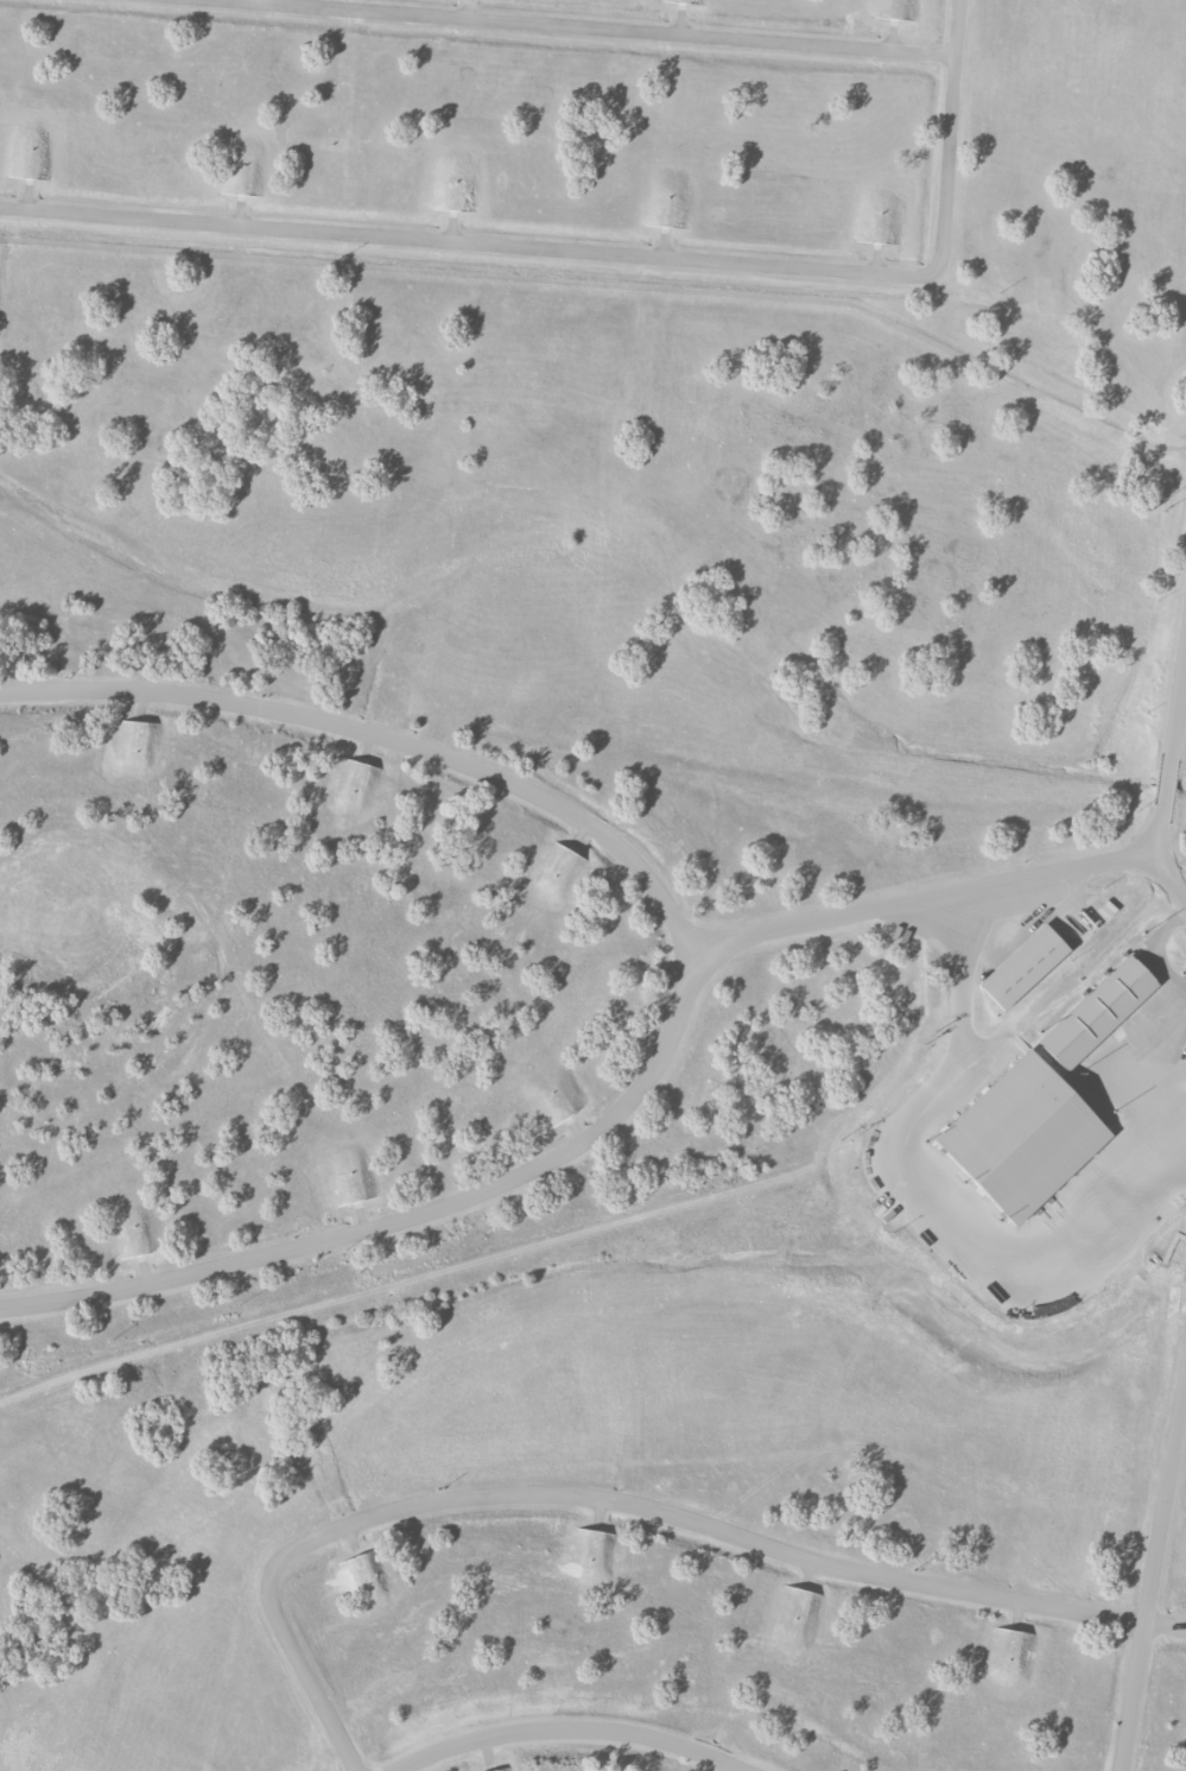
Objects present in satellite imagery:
road: (583, 29)
road: (951, 139)
road: (463, 245)
road: (387, 733)
road: (1167, 782)
road: (921, 903)
building: (1092, 923)
building: (1023, 966)
building: (1097, 1012)
building: (1022, 1137)
road: (408, 1217)
road: (617, 1501)
road: (1154, 1577)
road: (571, 1735)

